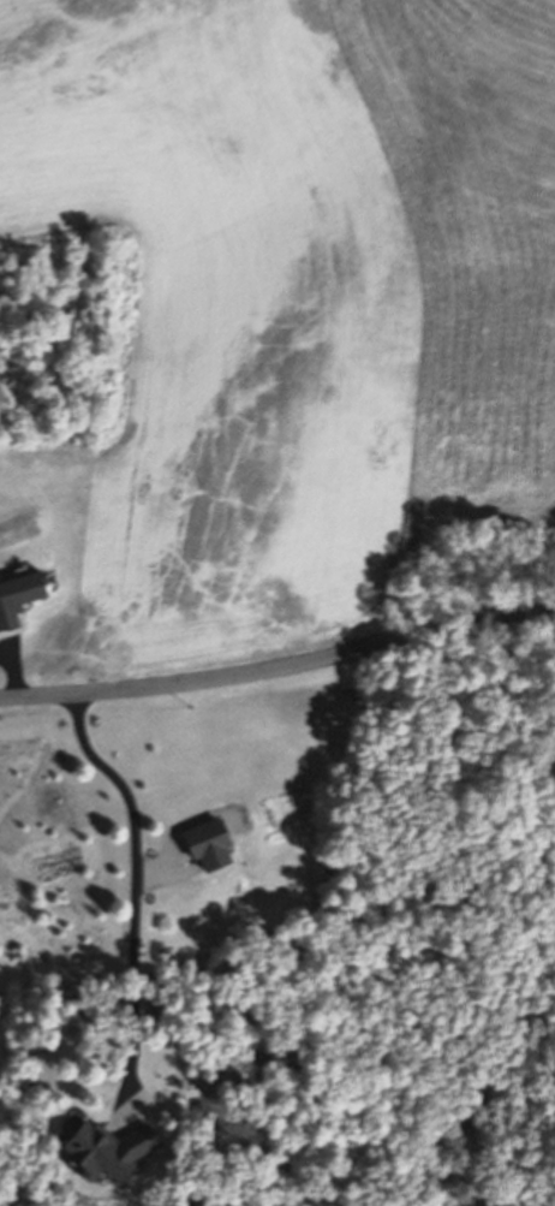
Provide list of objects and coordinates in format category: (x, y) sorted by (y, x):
road: (279, 667)
building: (208, 845)
road: (142, 899)
building: (120, 1148)

